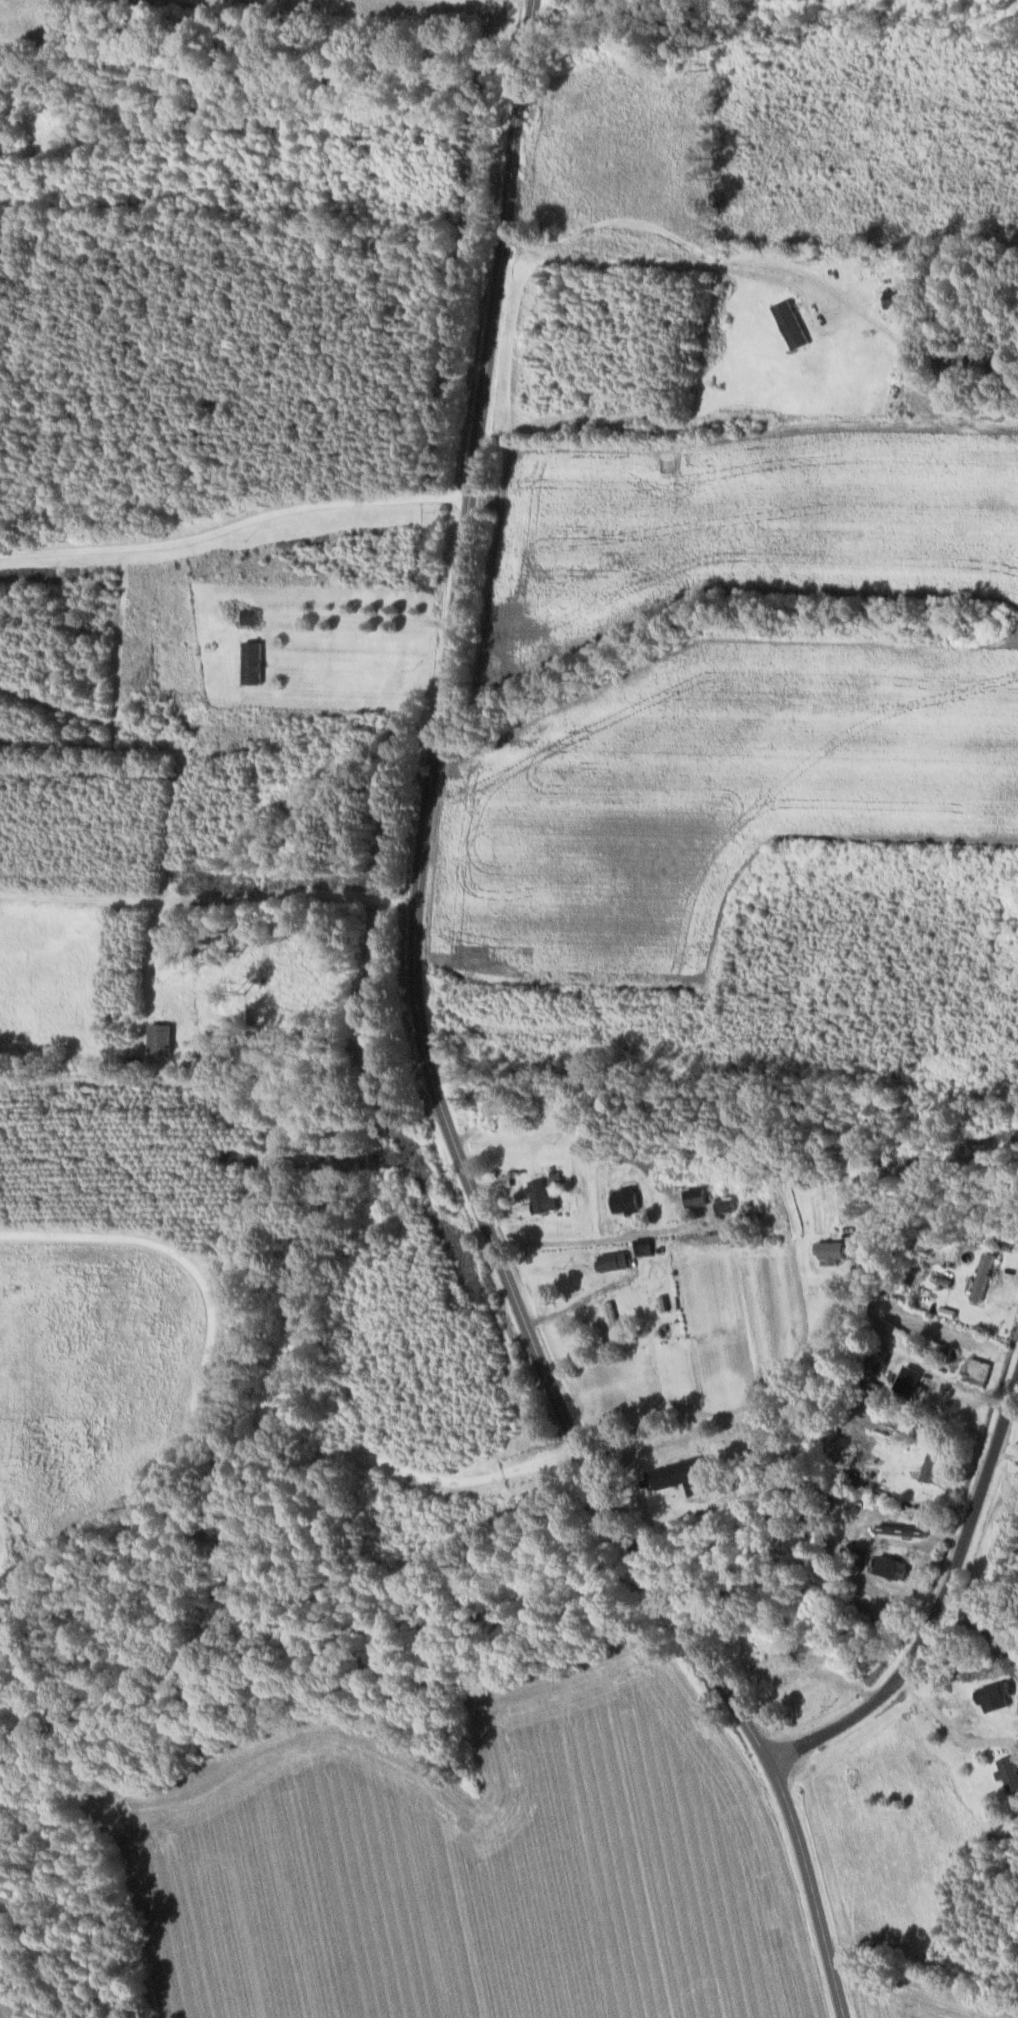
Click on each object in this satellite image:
road: (698, 263)
building: (794, 323)
road: (234, 523)
building: (251, 615)
building: (254, 661)
building: (163, 1037)
road: (424, 1052)
road: (225, 1089)
building: (698, 1195)
building: (545, 1196)
building: (628, 1199)
building: (728, 1203)
road: (672, 1230)
building: (646, 1245)
building: (834, 1249)
building: (615, 1259)
building: (985, 1274)
building: (980, 1367)
building: (912, 1376)
building: (933, 1463)
building: (684, 1475)
building: (895, 1566)
road: (941, 1602)
building: (998, 1695)
building: (1009, 1770)

